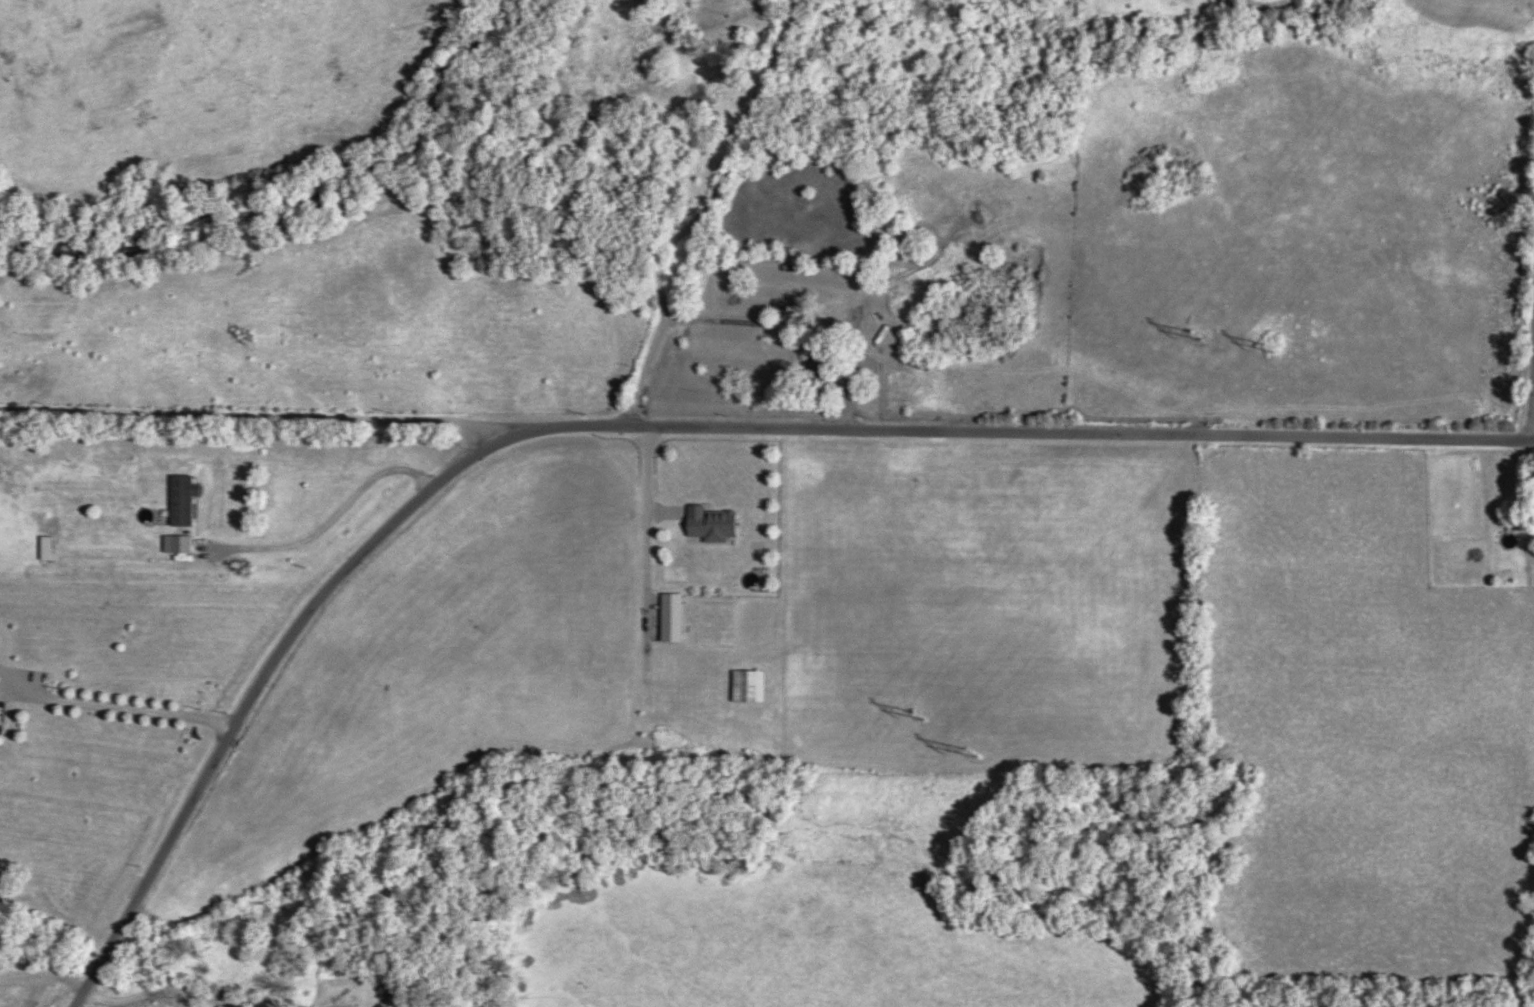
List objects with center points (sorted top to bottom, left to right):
road: (727, 213)
building: (781, 309)
power tower: (1198, 334)
power tower: (1267, 343)
building: (813, 362)
road: (1530, 368)
road: (255, 415)
road: (653, 420)
building: (184, 497)
building: (716, 521)
road: (328, 522)
building: (47, 546)
building: (746, 684)
power tower: (919, 712)
power tower: (972, 755)
road: (159, 988)

